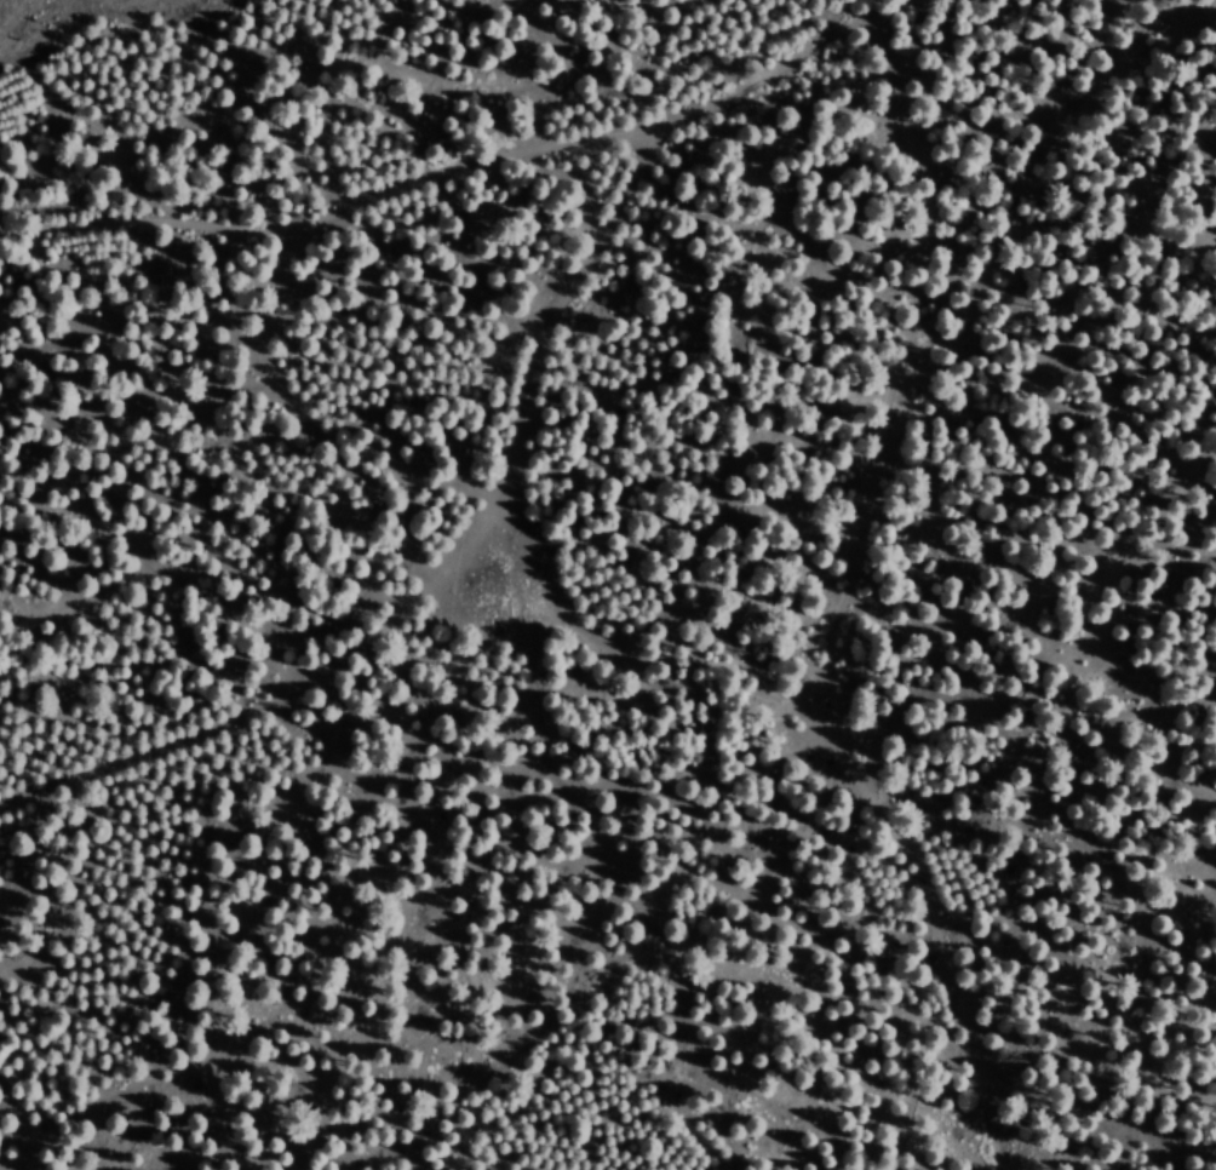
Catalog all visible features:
road: (480, 208)
road: (901, 592)

